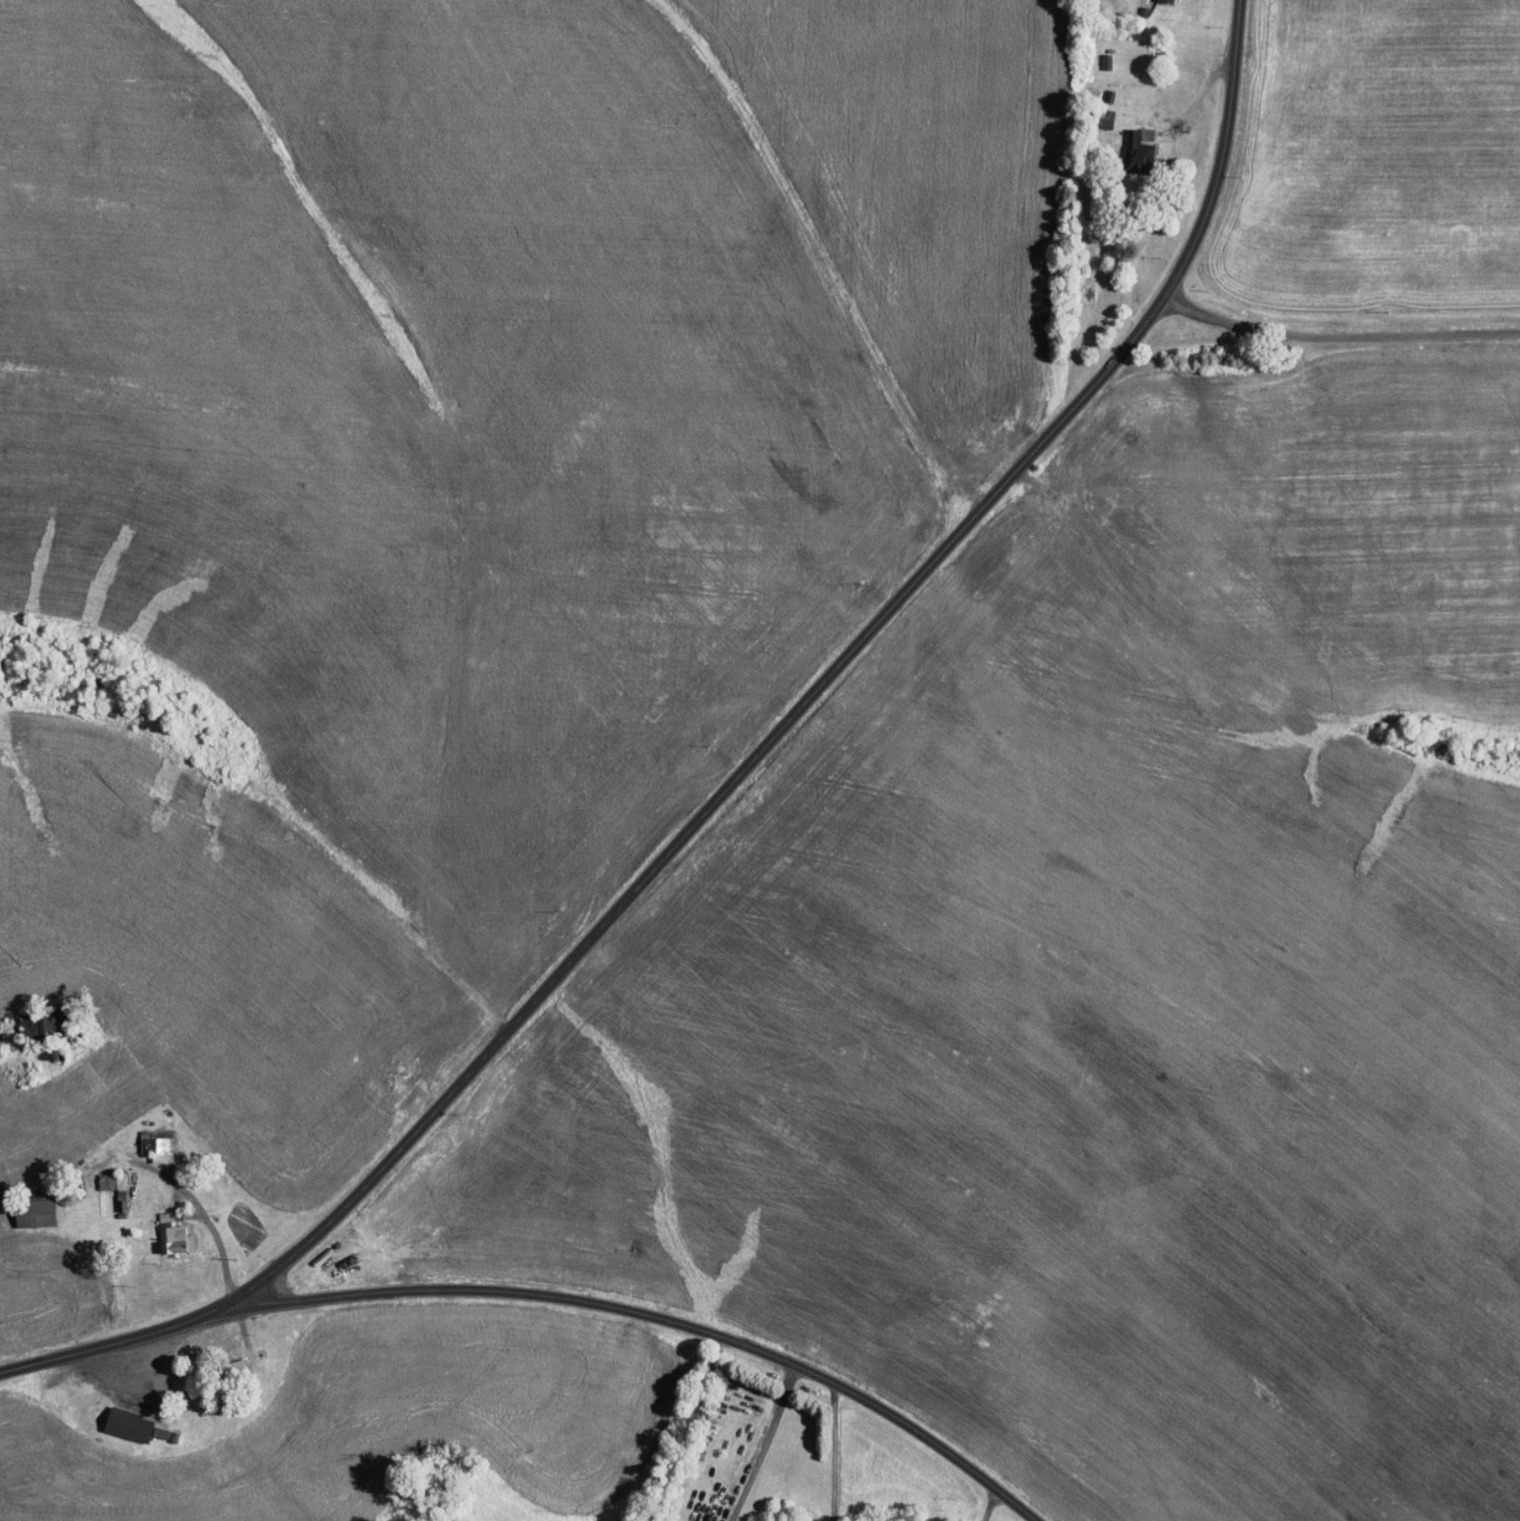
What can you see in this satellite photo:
building: (1165, 0)
building: (1106, 61)
building: (1138, 150)
road: (1341, 337)
road: (732, 784)
building: (54, 1028)
building: (156, 1144)
building: (111, 1180)
building: (32, 1212)
road: (213, 1228)
building: (173, 1235)
road: (659, 1316)
building: (126, 1424)
building: (158, 1432)
road: (764, 1443)
road: (833, 1454)

